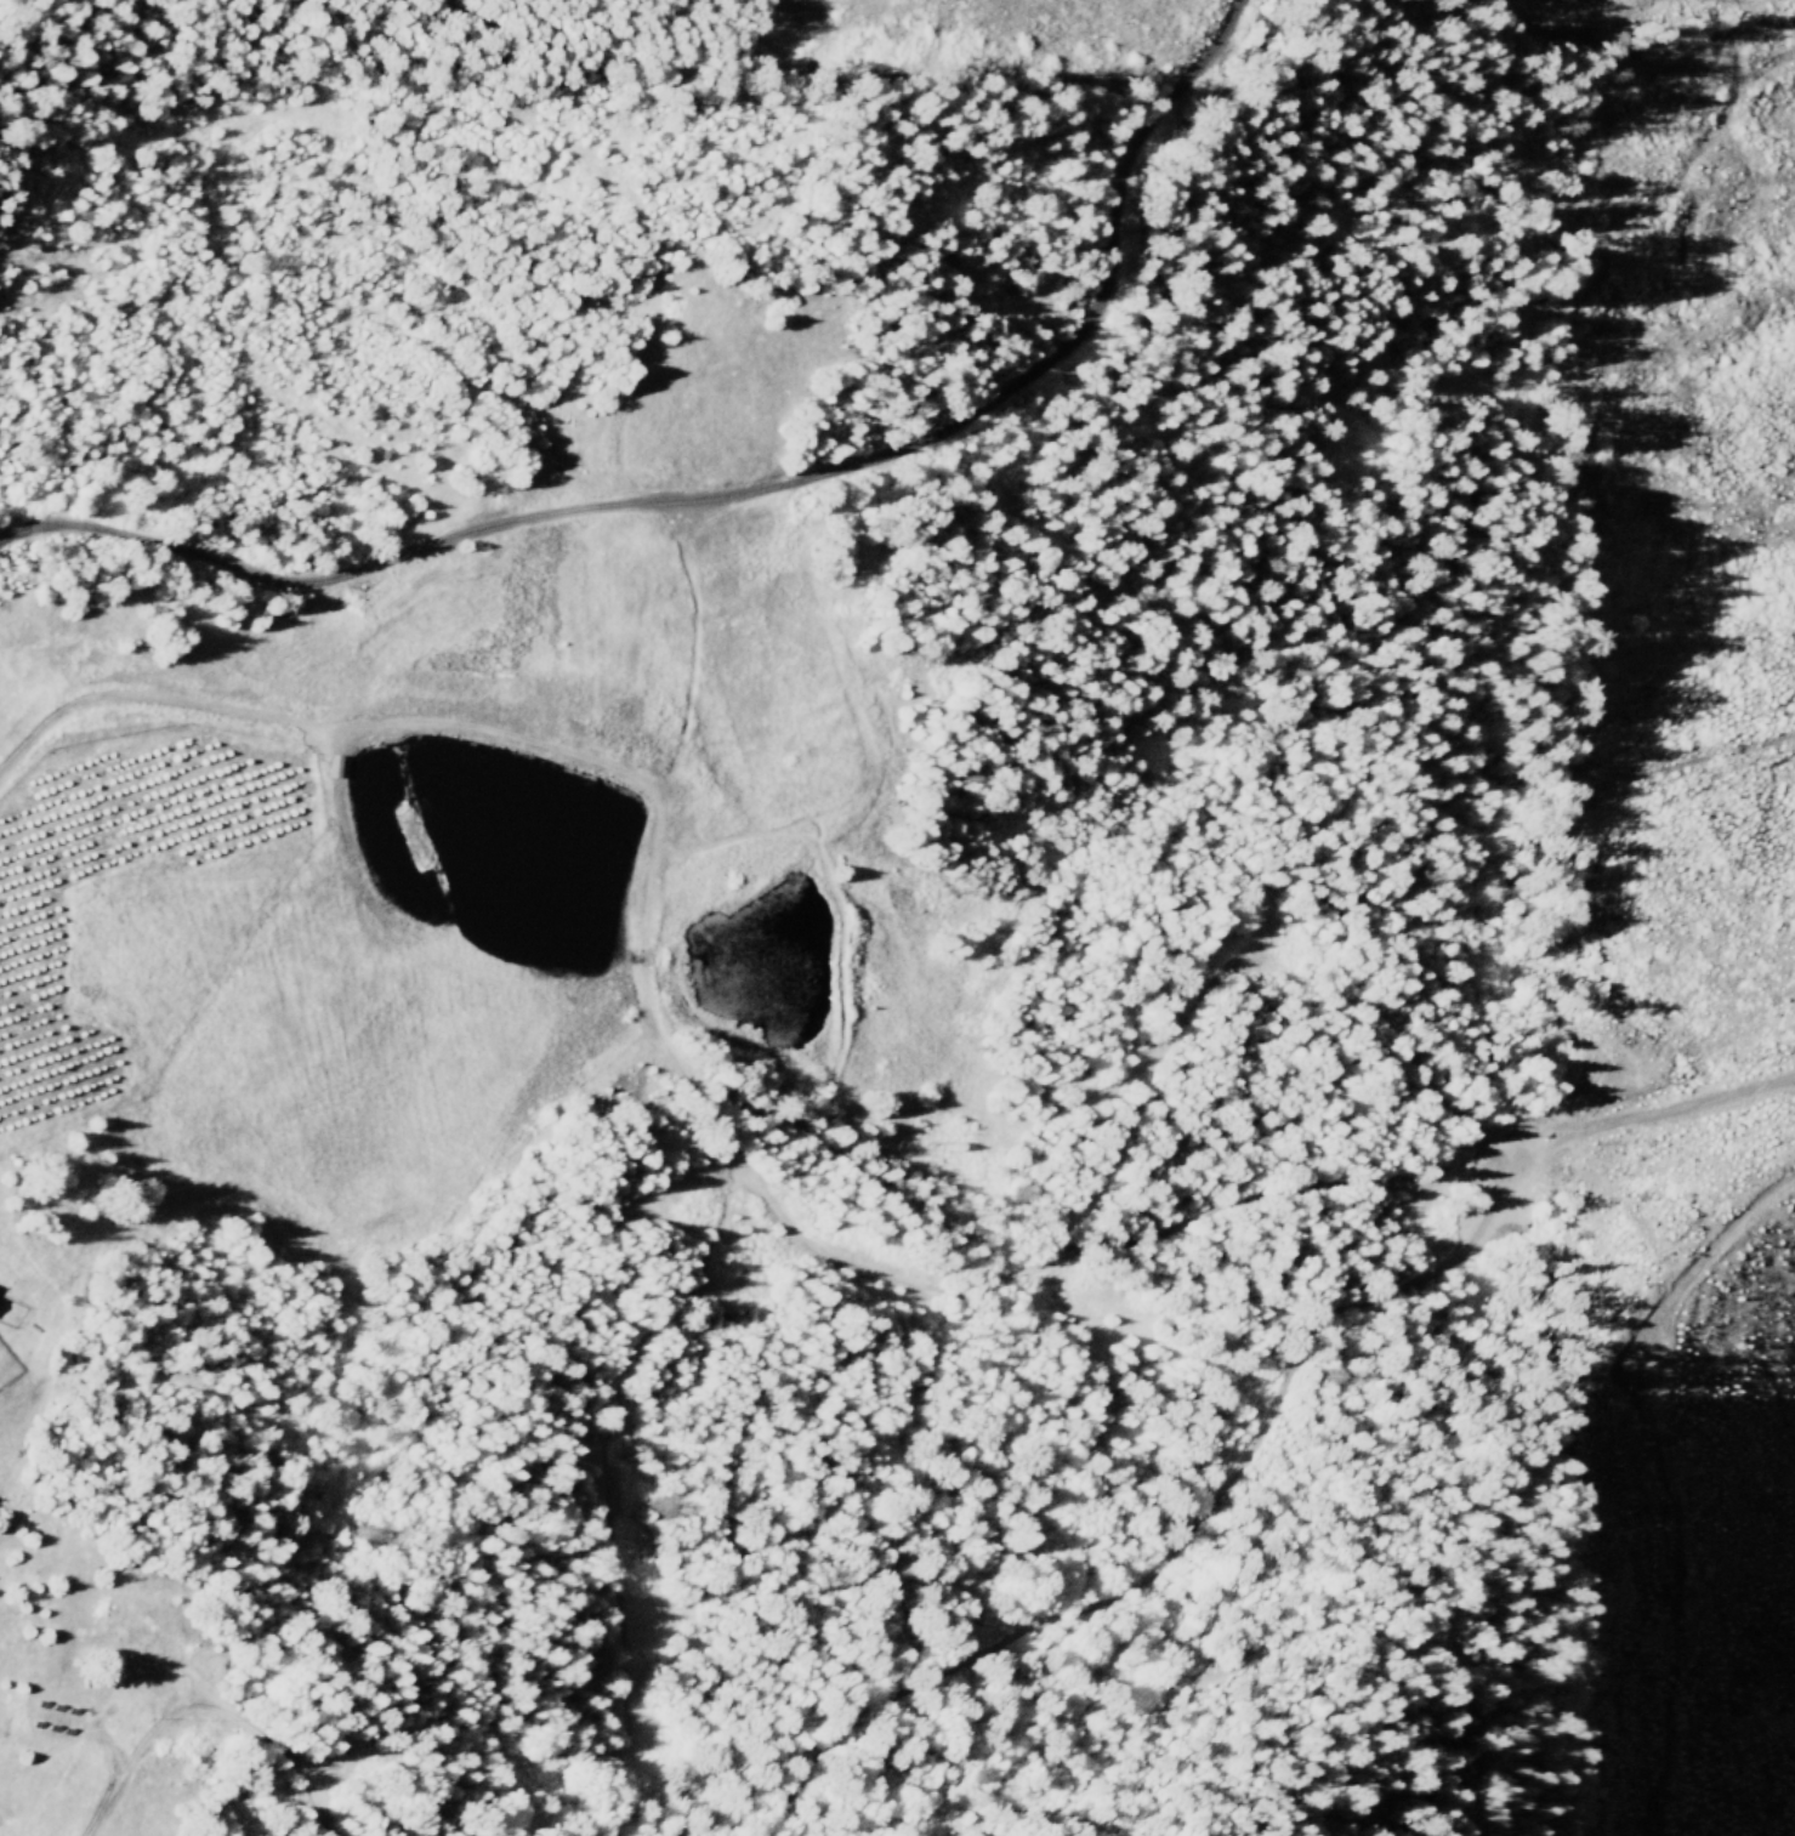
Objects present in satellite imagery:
road: (735, 493)
road: (329, 726)
road: (1142, 1082)
road: (772, 1211)
road: (1481, 1212)
road: (203, 1710)

